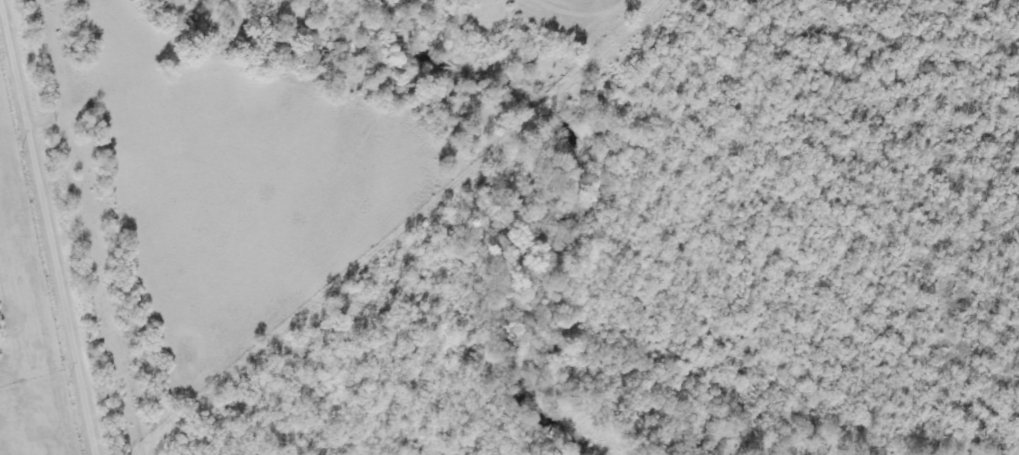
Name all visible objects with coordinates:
road: (54, 227)

